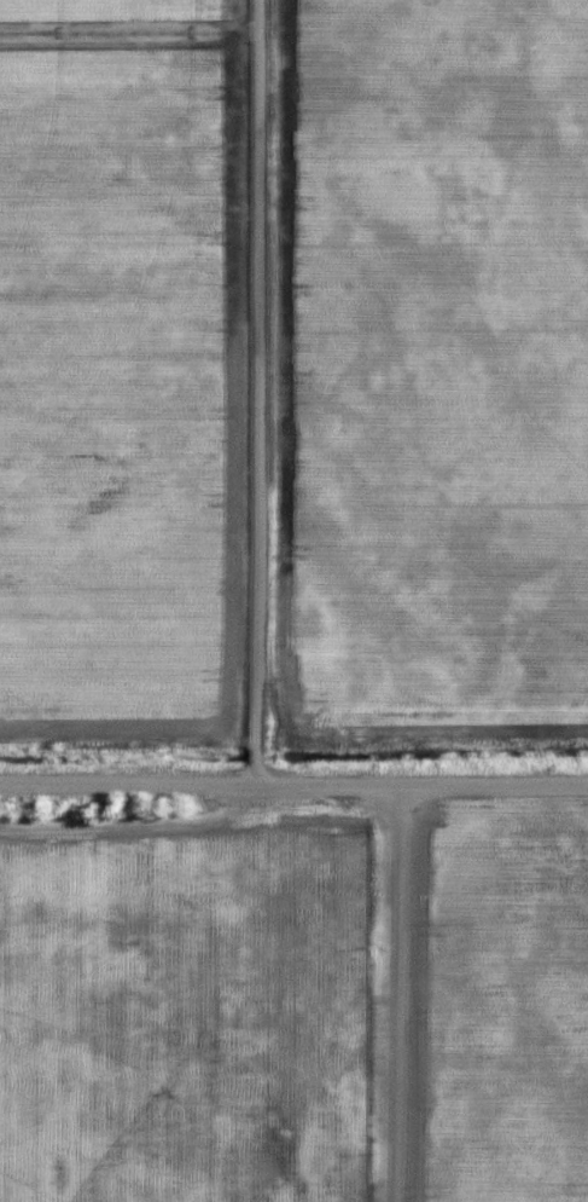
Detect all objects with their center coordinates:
road: (263, 394)
road: (293, 788)
road: (400, 995)

